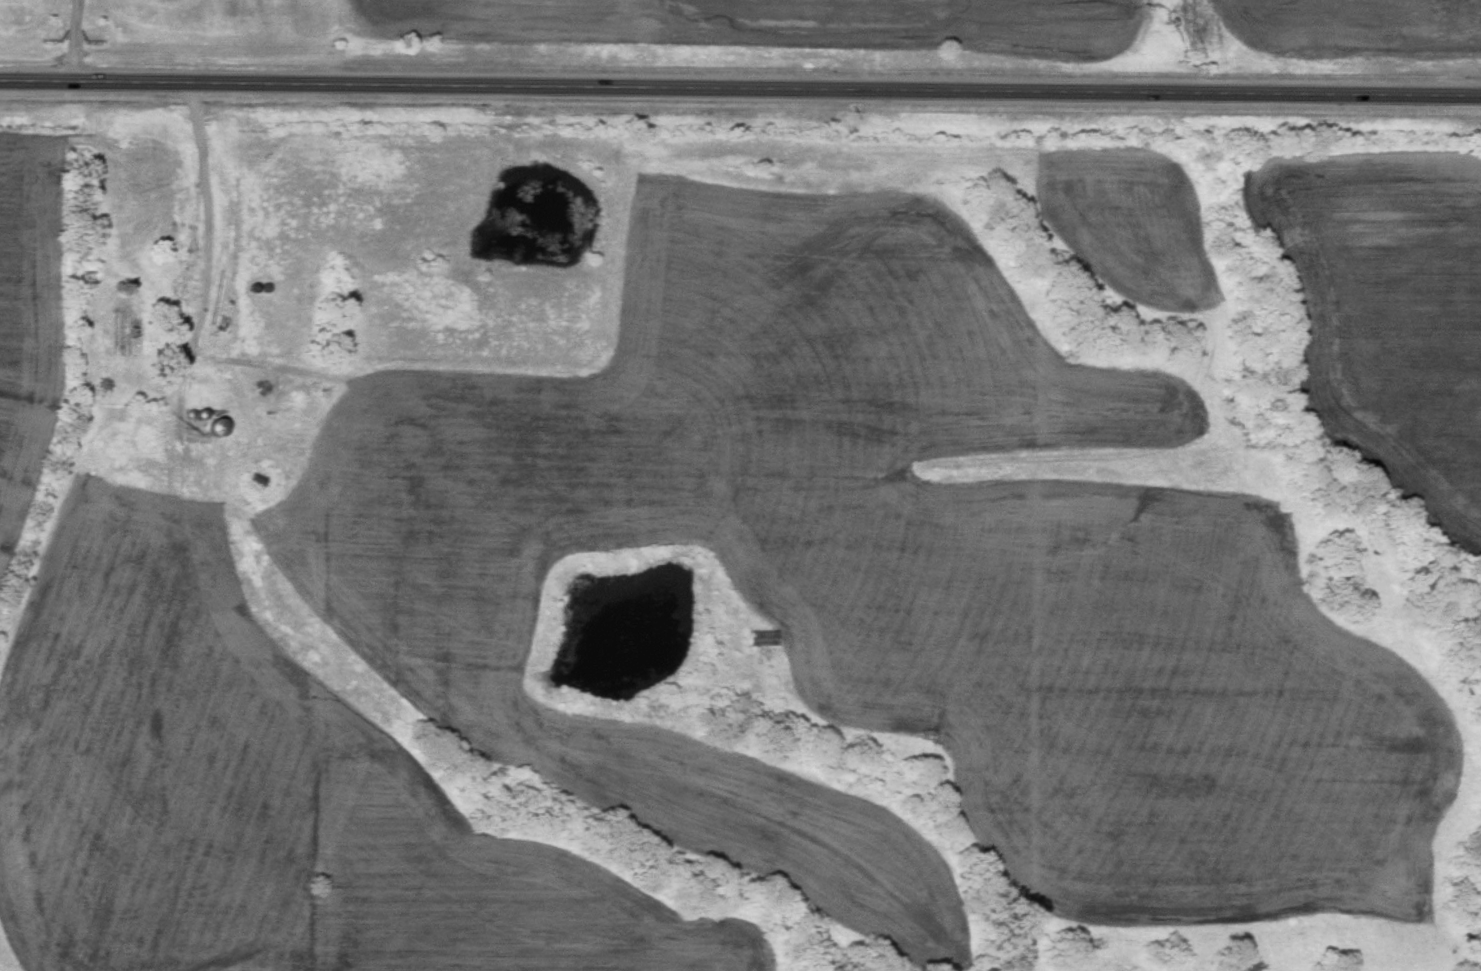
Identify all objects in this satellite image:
road: (73, 38)
road: (740, 83)
road: (192, 233)
building: (122, 332)
building: (220, 427)
building: (765, 638)

